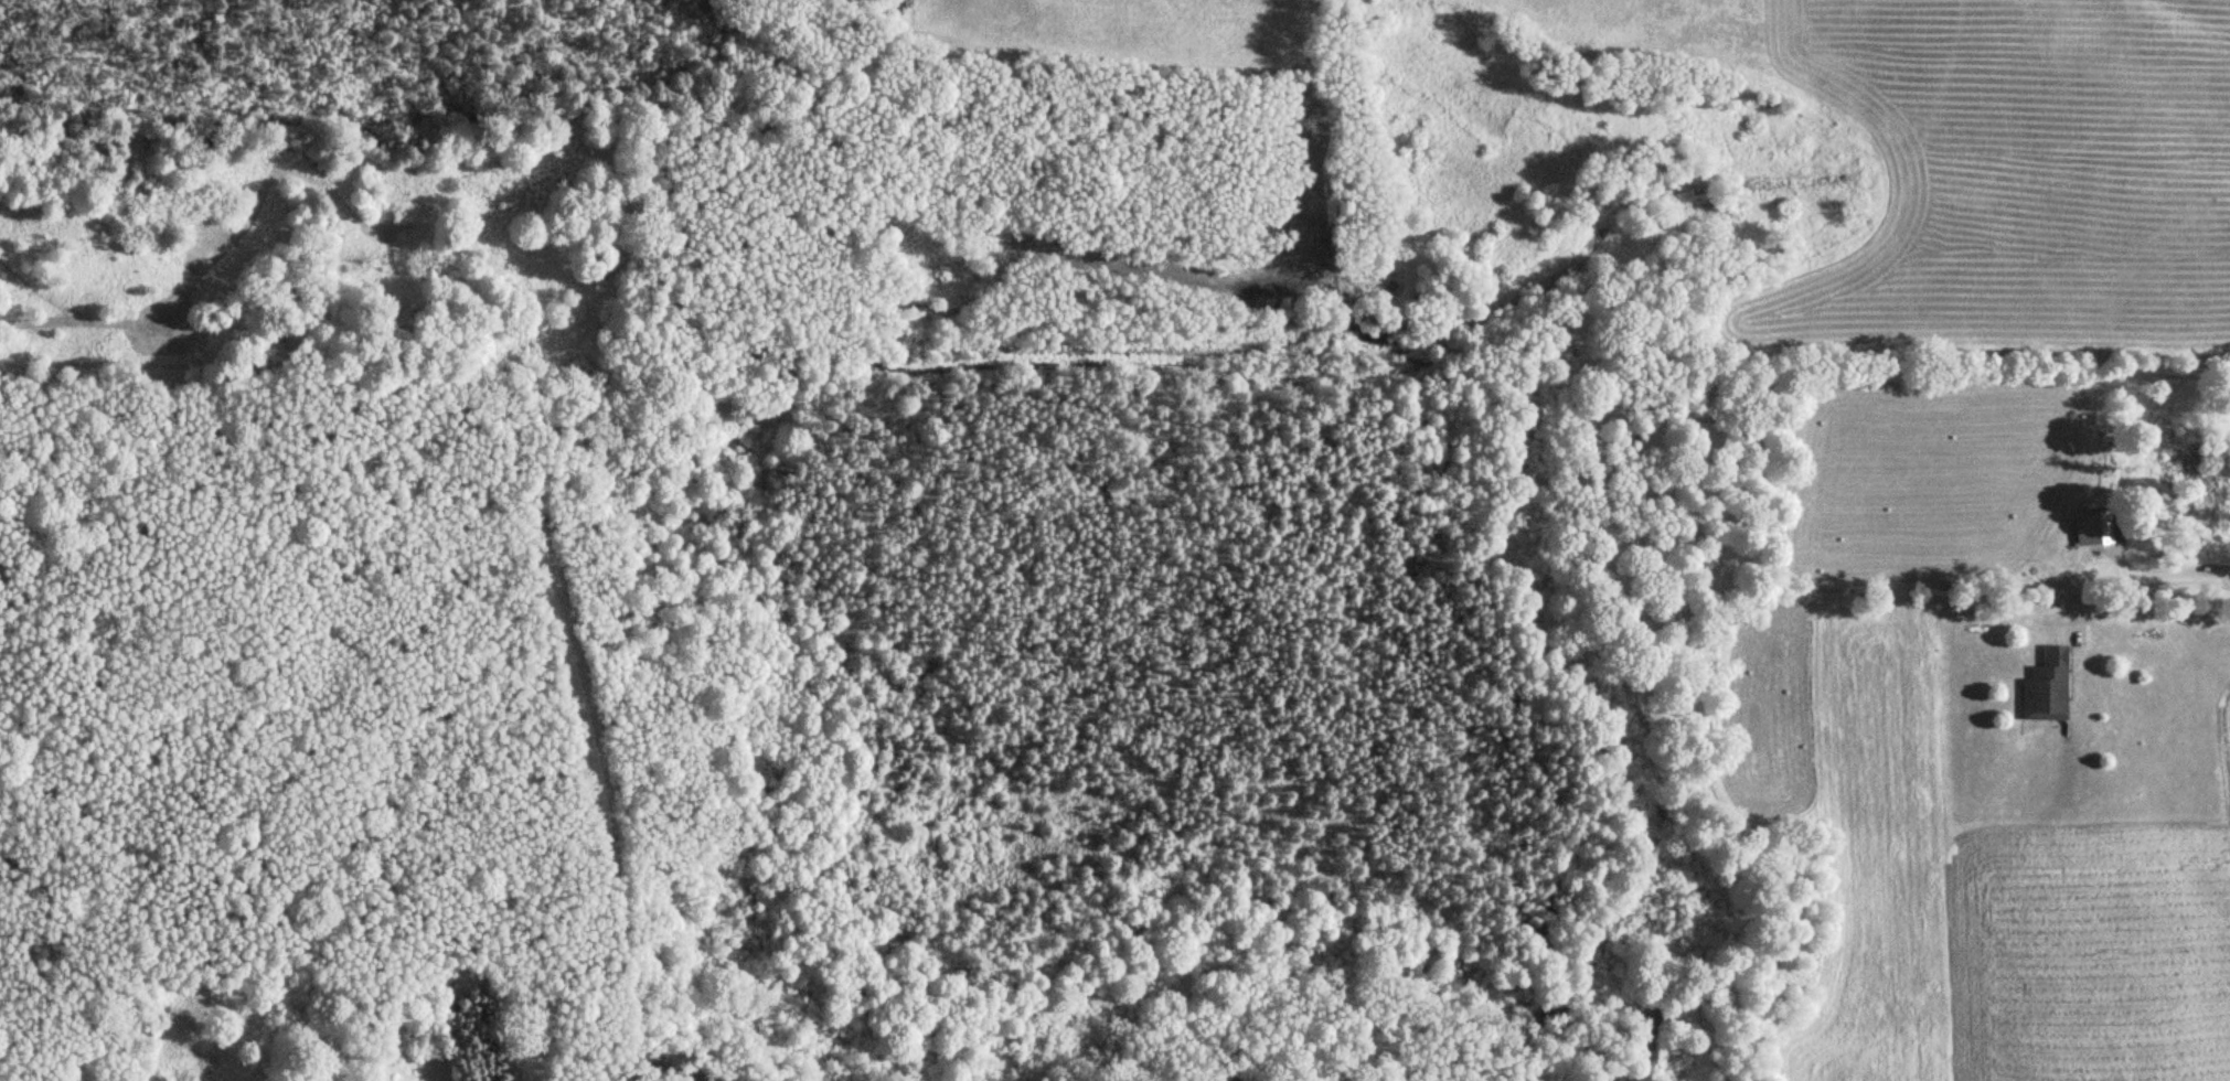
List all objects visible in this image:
building: (2094, 528)
road: (2078, 580)
road: (2148, 614)
road: (2063, 619)
road: (2059, 632)
building: (2044, 688)

